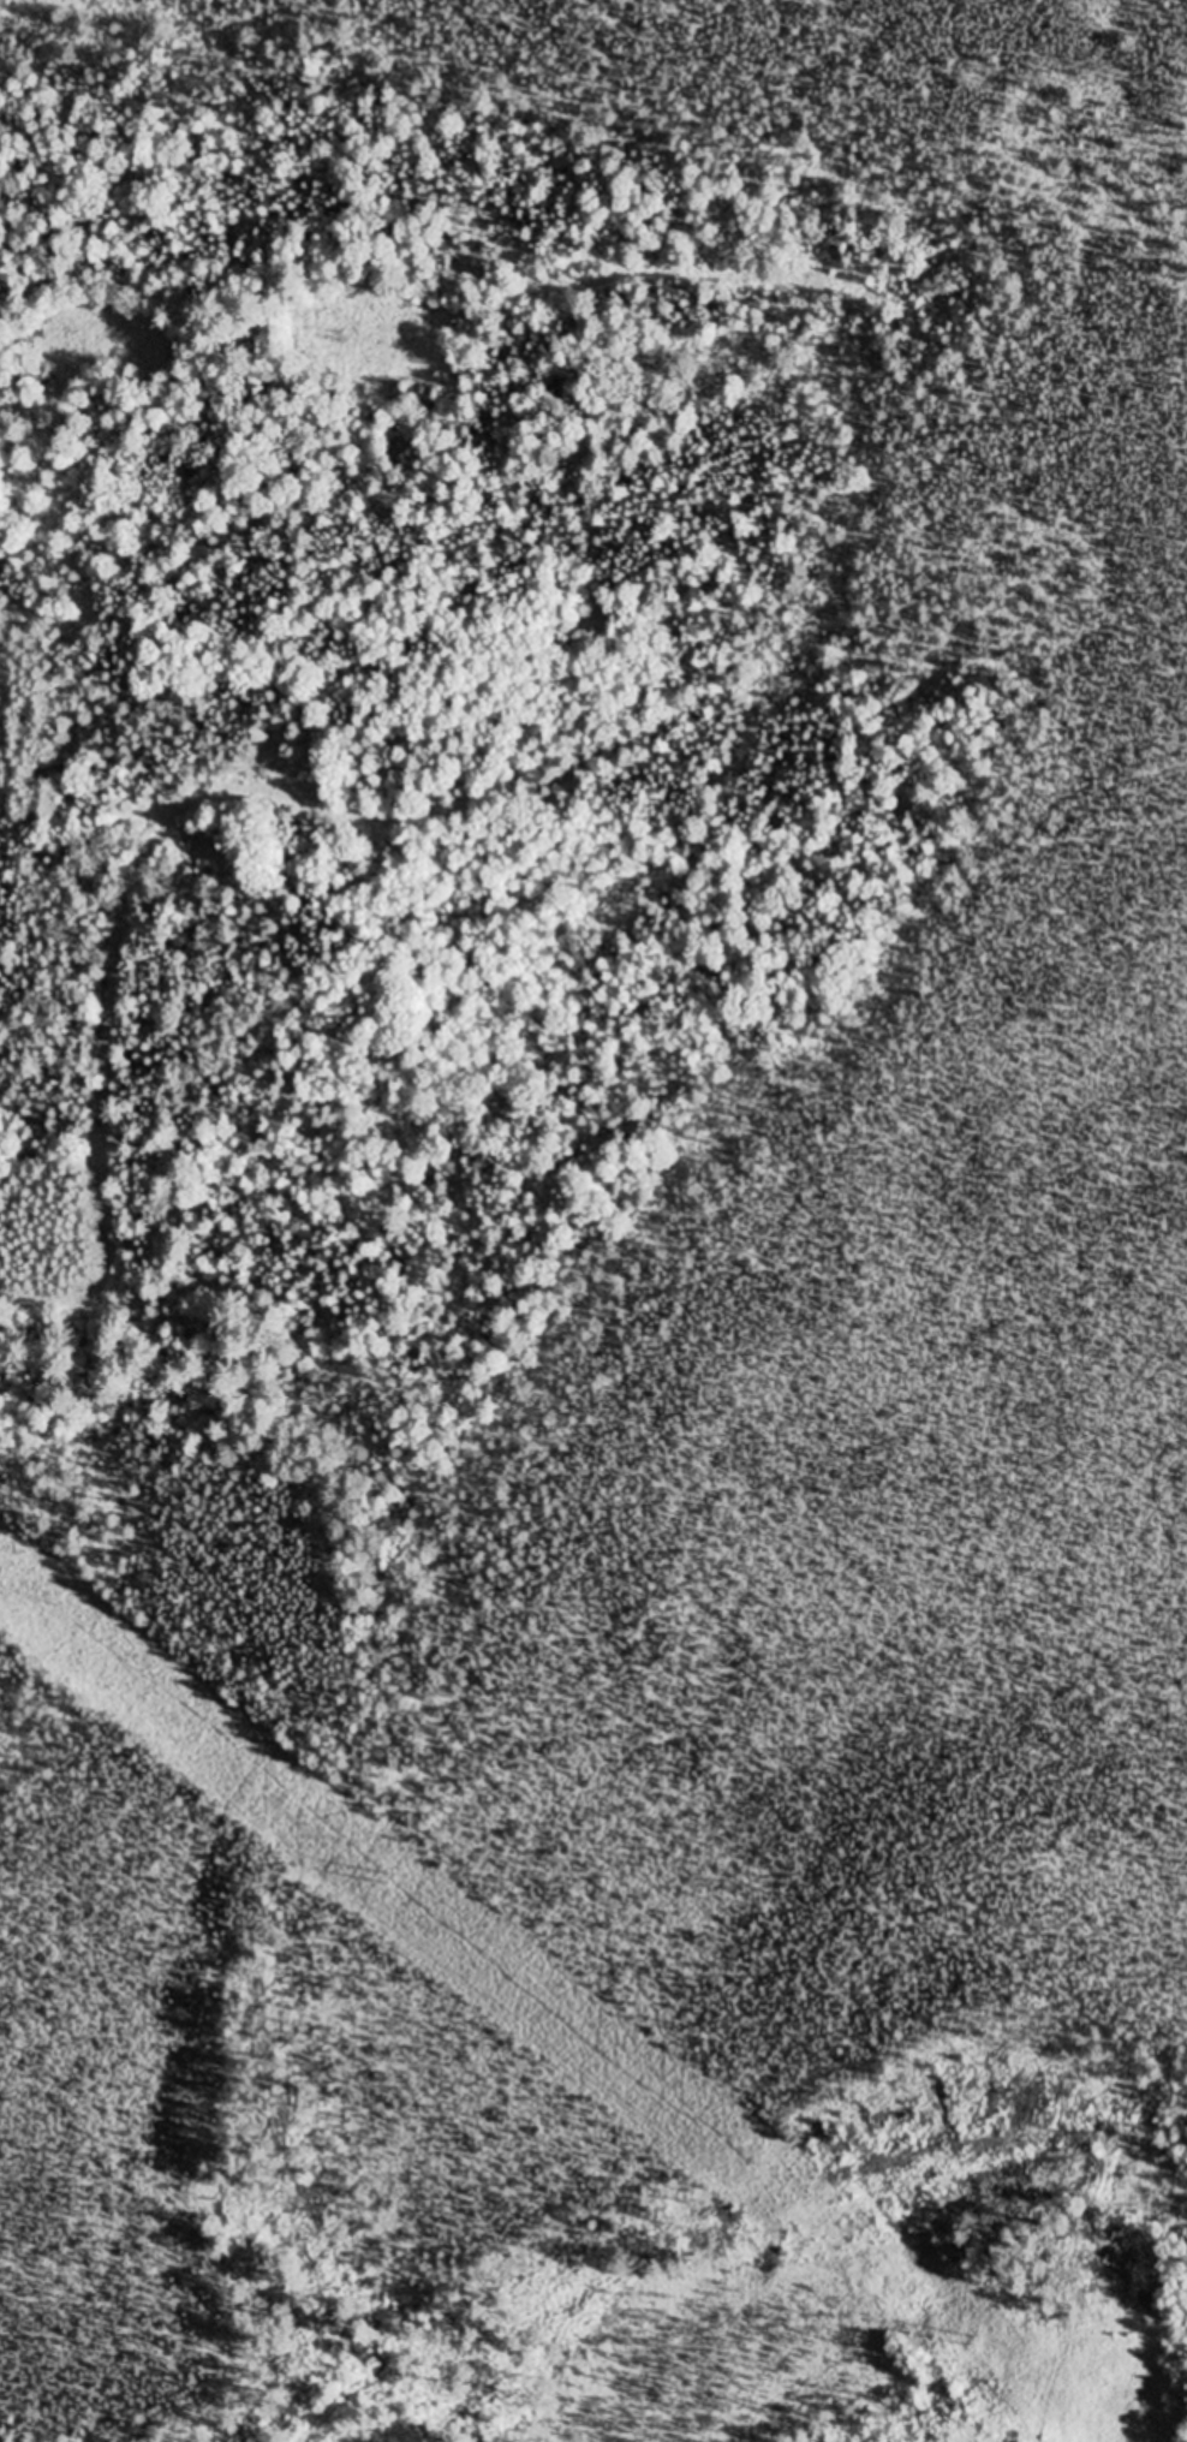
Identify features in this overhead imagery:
power tower: (394, 1880)
power tower: (982, 2343)

